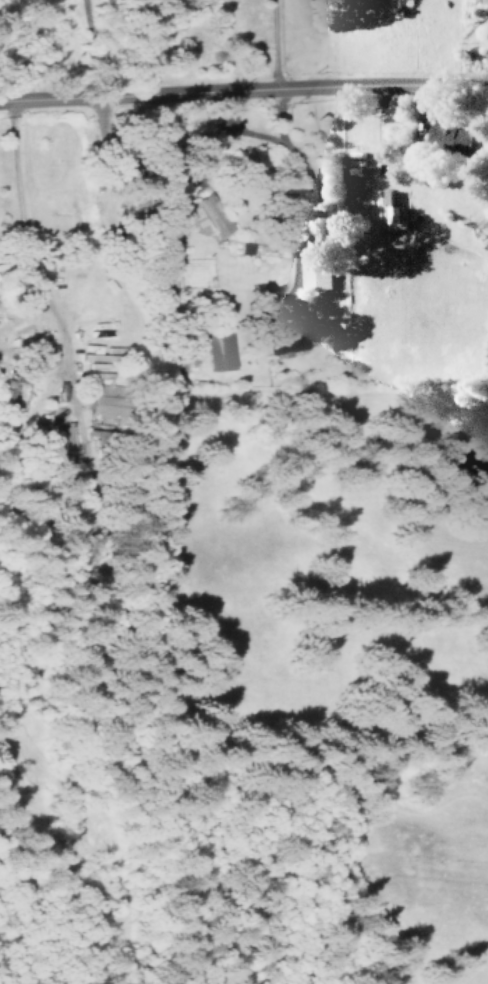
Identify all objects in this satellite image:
road: (271, 42)
road: (68, 49)
road: (243, 83)
building: (452, 134)
building: (393, 210)
building: (211, 215)
building: (314, 273)
building: (293, 335)
building: (219, 352)
building: (107, 404)
building: (64, 437)
crop: (330, 536)

